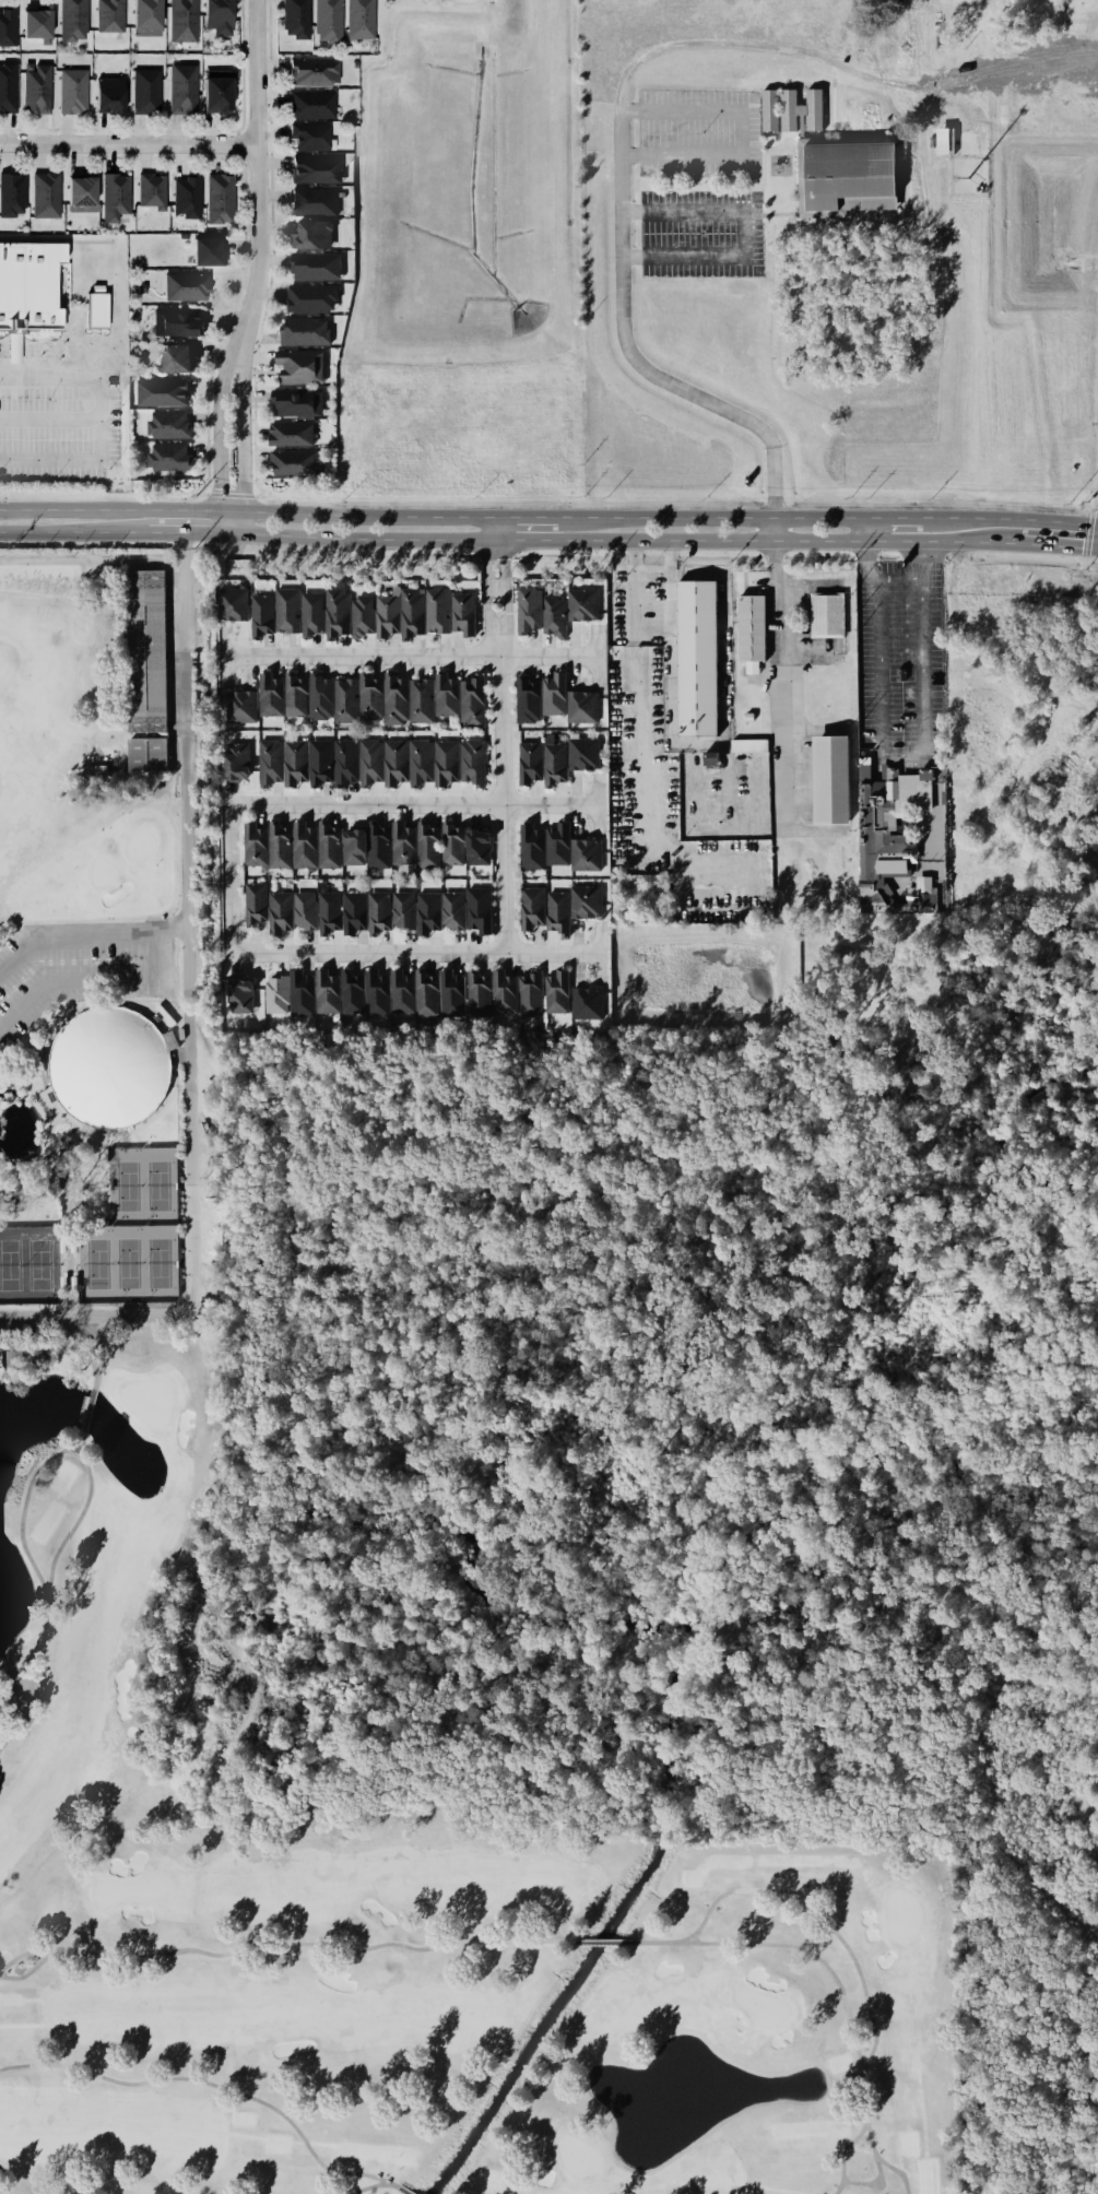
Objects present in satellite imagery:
road: (464, 2)
building: (217, 14)
building: (110, 15)
building: (147, 16)
building: (72, 19)
building: (296, 19)
building: (361, 19)
building: (184, 20)
building: (328, 20)
building: (37, 24)
building: (8, 25)
building: (312, 69)
building: (8, 86)
building: (36, 87)
building: (184, 87)
building: (73, 90)
building: (145, 91)
building: (109, 94)
building: (216, 96)
road: (829, 98)
building: (311, 103)
building: (768, 109)
road: (631, 110)
road: (757, 126)
road: (185, 130)
parking lot: (696, 131)
road: (238, 132)
road: (737, 132)
street lamp: (698, 133)
building: (309, 135)
building: (944, 140)
road: (767, 141)
road: (238, 144)
road: (129, 145)
road: (615, 152)
street lamp: (98, 153)
road: (631, 154)
road: (237, 157)
building: (840, 166)
building: (317, 167)
road: (910, 167)
street lamp: (700, 181)
building: (151, 189)
building: (81, 192)
building: (12, 194)
building: (46, 196)
building: (113, 196)
building: (187, 196)
parking lot: (732, 199)
parking lot: (739, 199)
parking lot: (744, 199)
building: (223, 201)
building: (314, 201)
parking lot: (749, 204)
road: (246, 210)
road: (631, 211)
road: (769, 212)
parking lot: (749, 221)
parking lot: (751, 226)
building: (85, 228)
parking lot: (699, 232)
building: (315, 233)
street lamp: (701, 233)
road: (739, 233)
building: (206, 249)
road: (271, 249)
road: (630, 256)
building: (317, 264)
road: (258, 268)
road: (55, 284)
building: (27, 285)
building: (186, 285)
building: (95, 288)
road: (69, 295)
building: (311, 297)
building: (95, 309)
road: (60, 316)
building: (177, 321)
building: (305, 329)
building: (12, 347)
road: (86, 352)
road: (2, 354)
road: (26, 357)
building: (177, 357)
building: (300, 366)
road: (66, 378)
building: (162, 391)
building: (297, 401)
street lamp: (46, 402)
street lamp: (118, 403)
parking lot: (57, 421)
building: (168, 423)
building: (291, 432)
road: (97, 437)
building: (169, 457)
building: (292, 462)
street lamp: (105, 469)
street lamp: (47, 481)
road: (204, 493)
road: (231, 493)
road: (257, 495)
road: (1088, 506)
road: (1095, 508)
road: (247, 509)
road: (530, 514)
road: (717, 516)
road: (898, 516)
road: (1013, 519)
road: (495, 527)
road: (869, 528)
road: (78, 533)
road: (193, 533)
road: (1088, 533)
road: (630, 540)
road: (1064, 544)
road: (920, 559)
road: (1086, 561)
building: (581, 603)
building: (231, 604)
building: (527, 609)
building: (285, 610)
building: (435, 610)
building: (309, 612)
building: (334, 612)
building: (410, 613)
building: (461, 613)
building: (827, 613)
building: (260, 614)
building: (361, 614)
building: (385, 614)
building: (553, 614)
parking lot: (645, 620)
parking lot: (656, 621)
parking lot: (645, 626)
parking lot: (656, 626)
building: (752, 627)
road: (768, 633)
parking lot: (796, 633)
road: (983, 634)
road: (668, 640)
building: (144, 650)
road: (411, 654)
building: (697, 659)
road: (722, 661)
parking lot: (898, 671)
road: (499, 673)
building: (899, 673)
road: (796, 682)
building: (553, 692)
road: (949, 692)
building: (268, 694)
building: (293, 694)
building: (444, 694)
building: (318, 696)
building: (369, 696)
building: (526, 698)
building: (394, 699)
building: (420, 699)
road: (941, 699)
building: (471, 700)
building: (344, 701)
building: (580, 705)
road: (1081, 706)
building: (240, 707)
building: (749, 745)
parking lot: (905, 750)
parking lot: (895, 751)
building: (582, 753)
building: (144, 754)
building: (710, 757)
road: (898, 758)
building: (235, 760)
building: (268, 760)
building: (293, 760)
building: (368, 760)
building: (393, 760)
building: (318, 762)
building: (343, 762)
building: (418, 762)
building: (445, 762)
building: (471, 762)
building: (528, 762)
building: (552, 764)
parking lot: (872, 768)
parking lot: (881, 768)
parking lot: (886, 769)
road: (890, 770)
road: (637, 771)
road: (1019, 771)
building: (829, 778)
building: (948, 790)
building: (1082, 790)
road: (964, 799)
road: (417, 805)
road: (988, 809)
road: (941, 816)
road: (1010, 828)
building: (951, 837)
building: (556, 842)
building: (278, 844)
building: (401, 844)
building: (451, 844)
road: (920, 844)
building: (251, 845)
building: (302, 845)
building: (376, 845)
building: (426, 845)
building: (327, 846)
building: (529, 846)
building: (352, 847)
building: (477, 848)
building: (585, 853)
building: (886, 853)
road: (921, 872)
road: (505, 881)
road: (234, 882)
road: (949, 898)
building: (583, 903)
building: (252, 904)
road: (989, 904)
building: (531, 906)
building: (477, 908)
building: (401, 909)
building: (451, 909)
building: (303, 910)
building: (555, 910)
building: (376, 911)
building: (326, 912)
building: (351, 912)
building: (279, 913)
building: (425, 913)
road: (87, 934)
road: (417, 955)
road: (88, 978)
building: (398, 990)
building: (297, 991)
building: (323, 991)
building: (347, 991)
building: (447, 991)
building: (475, 991)
building: (500, 991)
building: (554, 991)
building: (373, 992)
building: (422, 992)
building: (528, 992)
building: (272, 993)
building: (237, 994)
building: (585, 1002)
road: (189, 1018)
building: (109, 1064)
park: (99, 1186)
park: (133, 1230)
park: (29, 1264)
building: (9, 1359)
park: (113, 1432)

